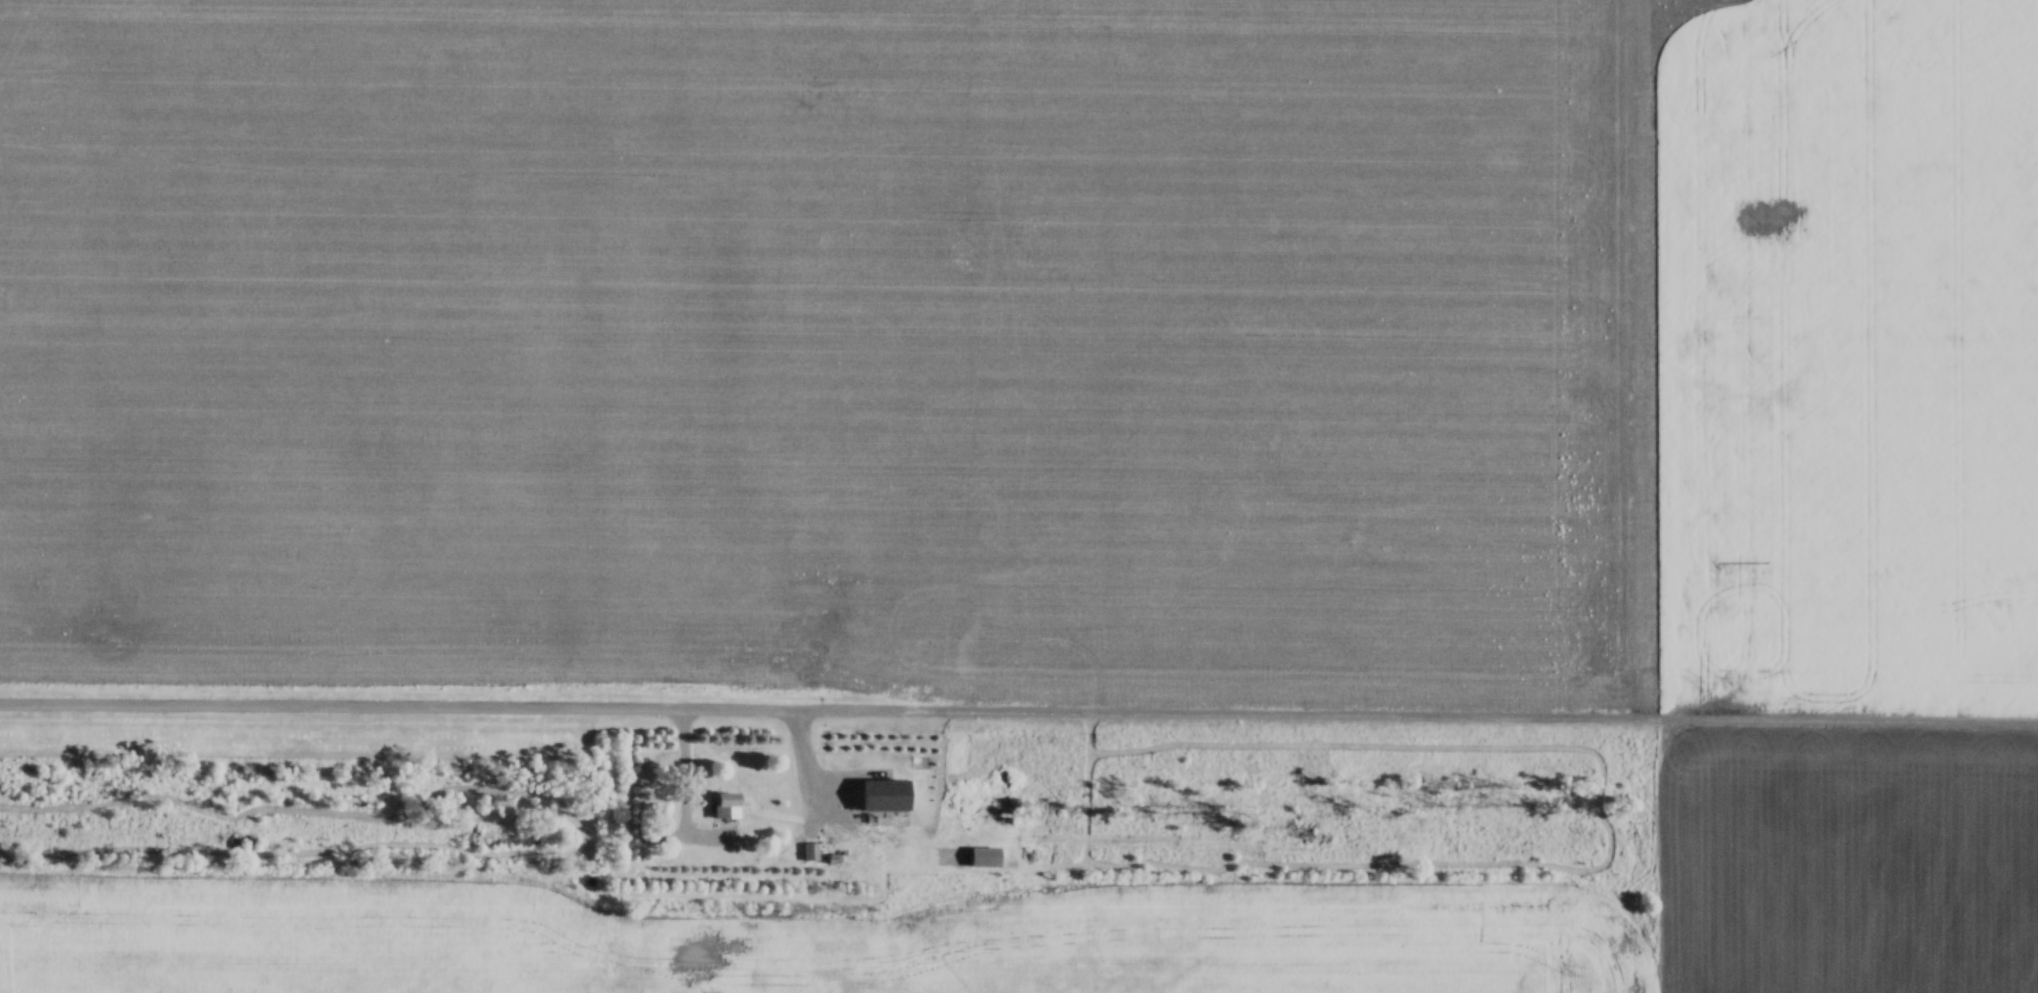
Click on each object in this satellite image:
road: (1019, 700)
building: (844, 792)
building: (722, 803)
building: (650, 835)

